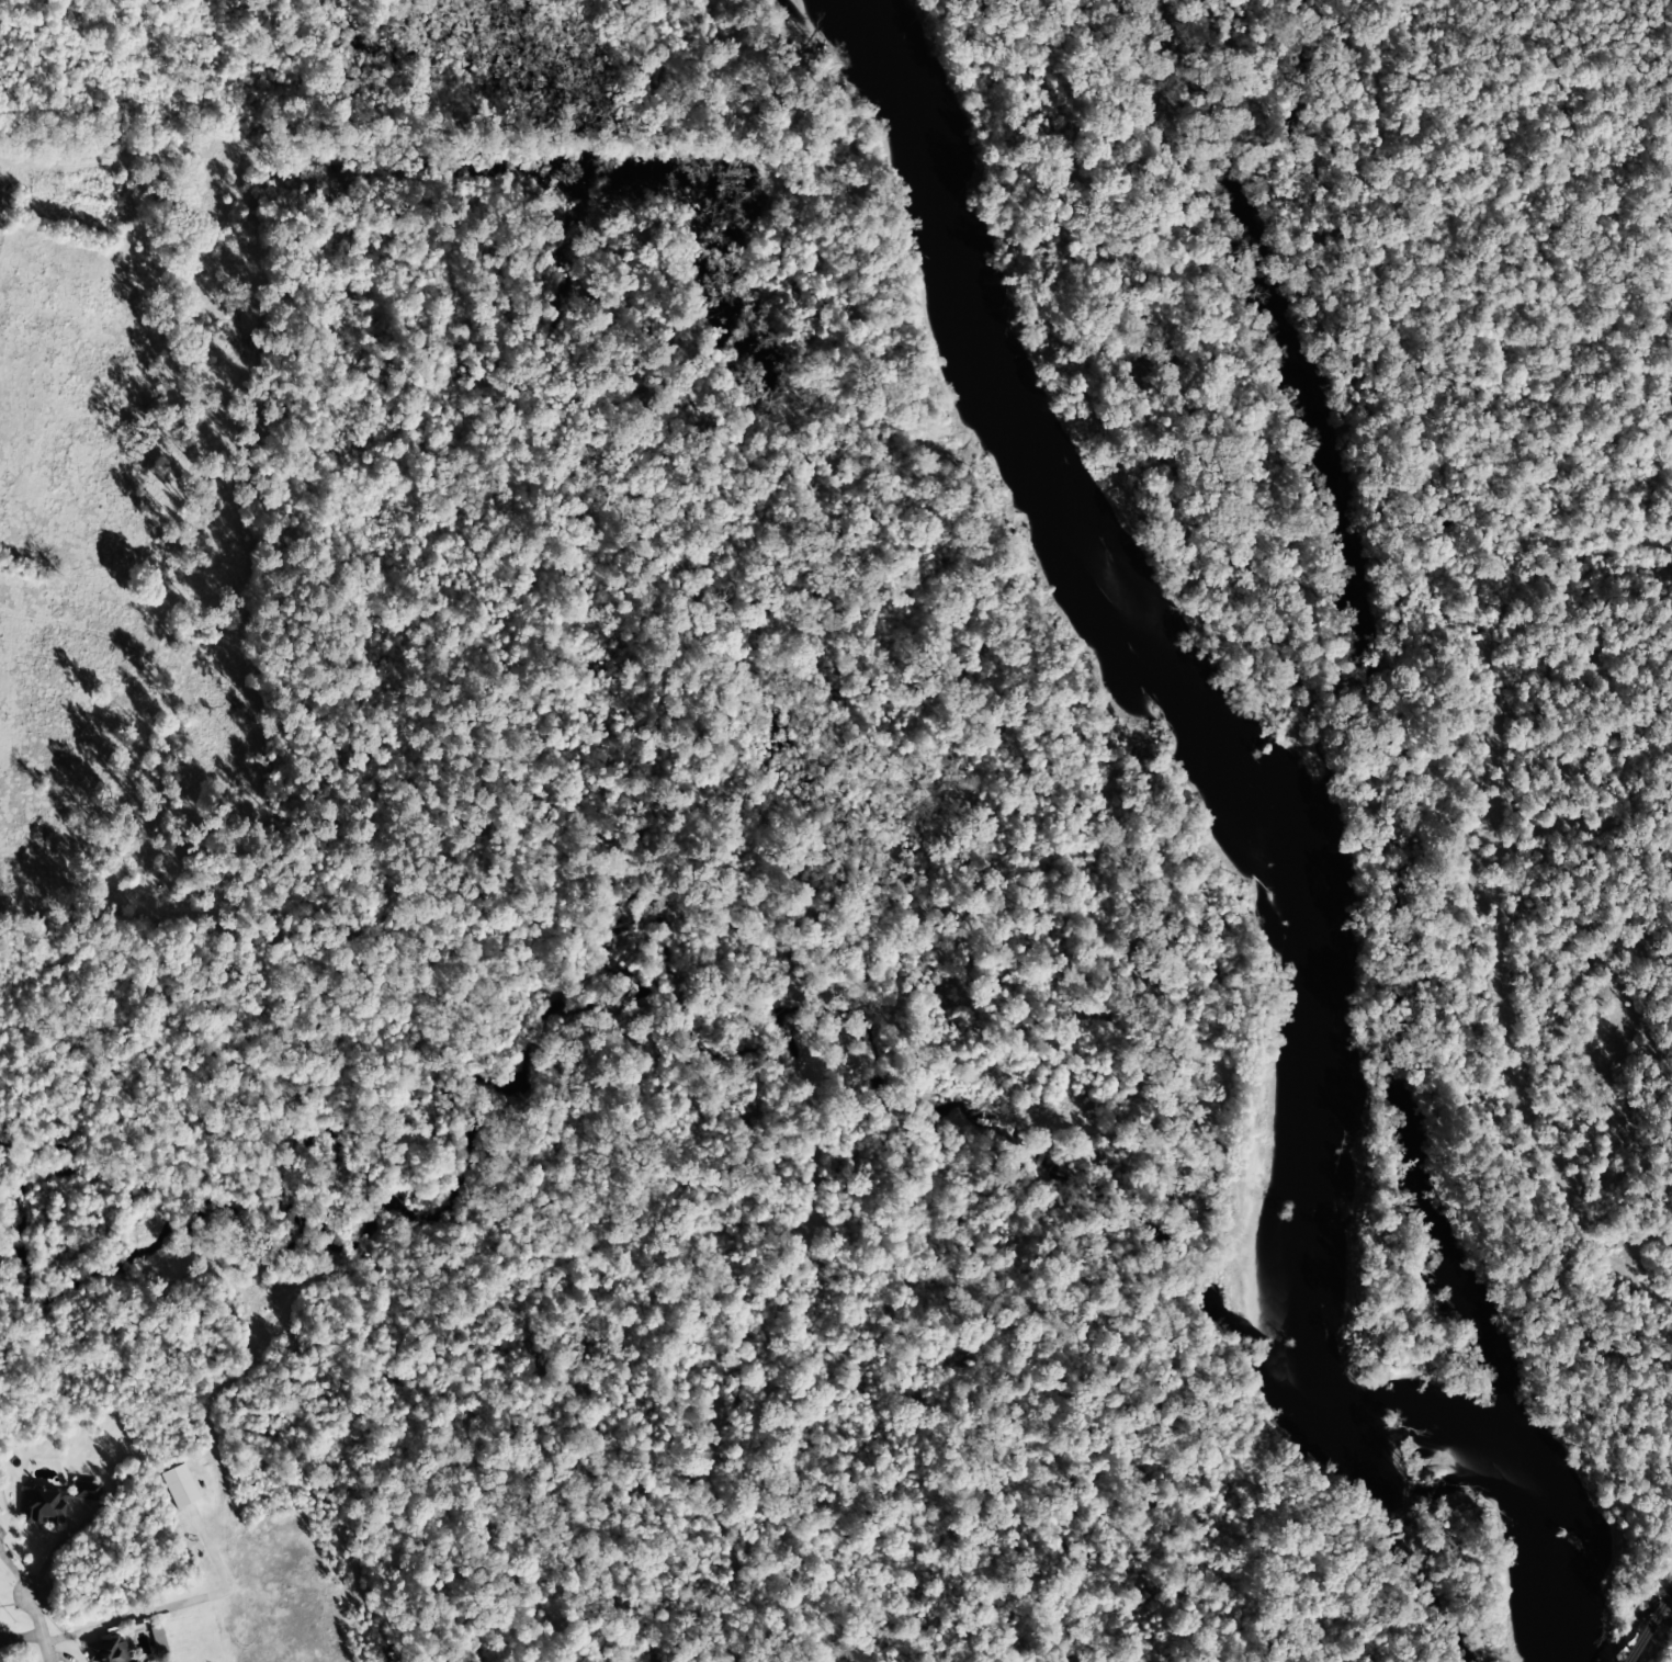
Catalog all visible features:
road: (1493, 890)
building: (179, 1488)
building: (56, 1502)
railway: (1669, 1597)
road: (34, 1630)
railway: (1647, 1631)
building: (106, 1650)

